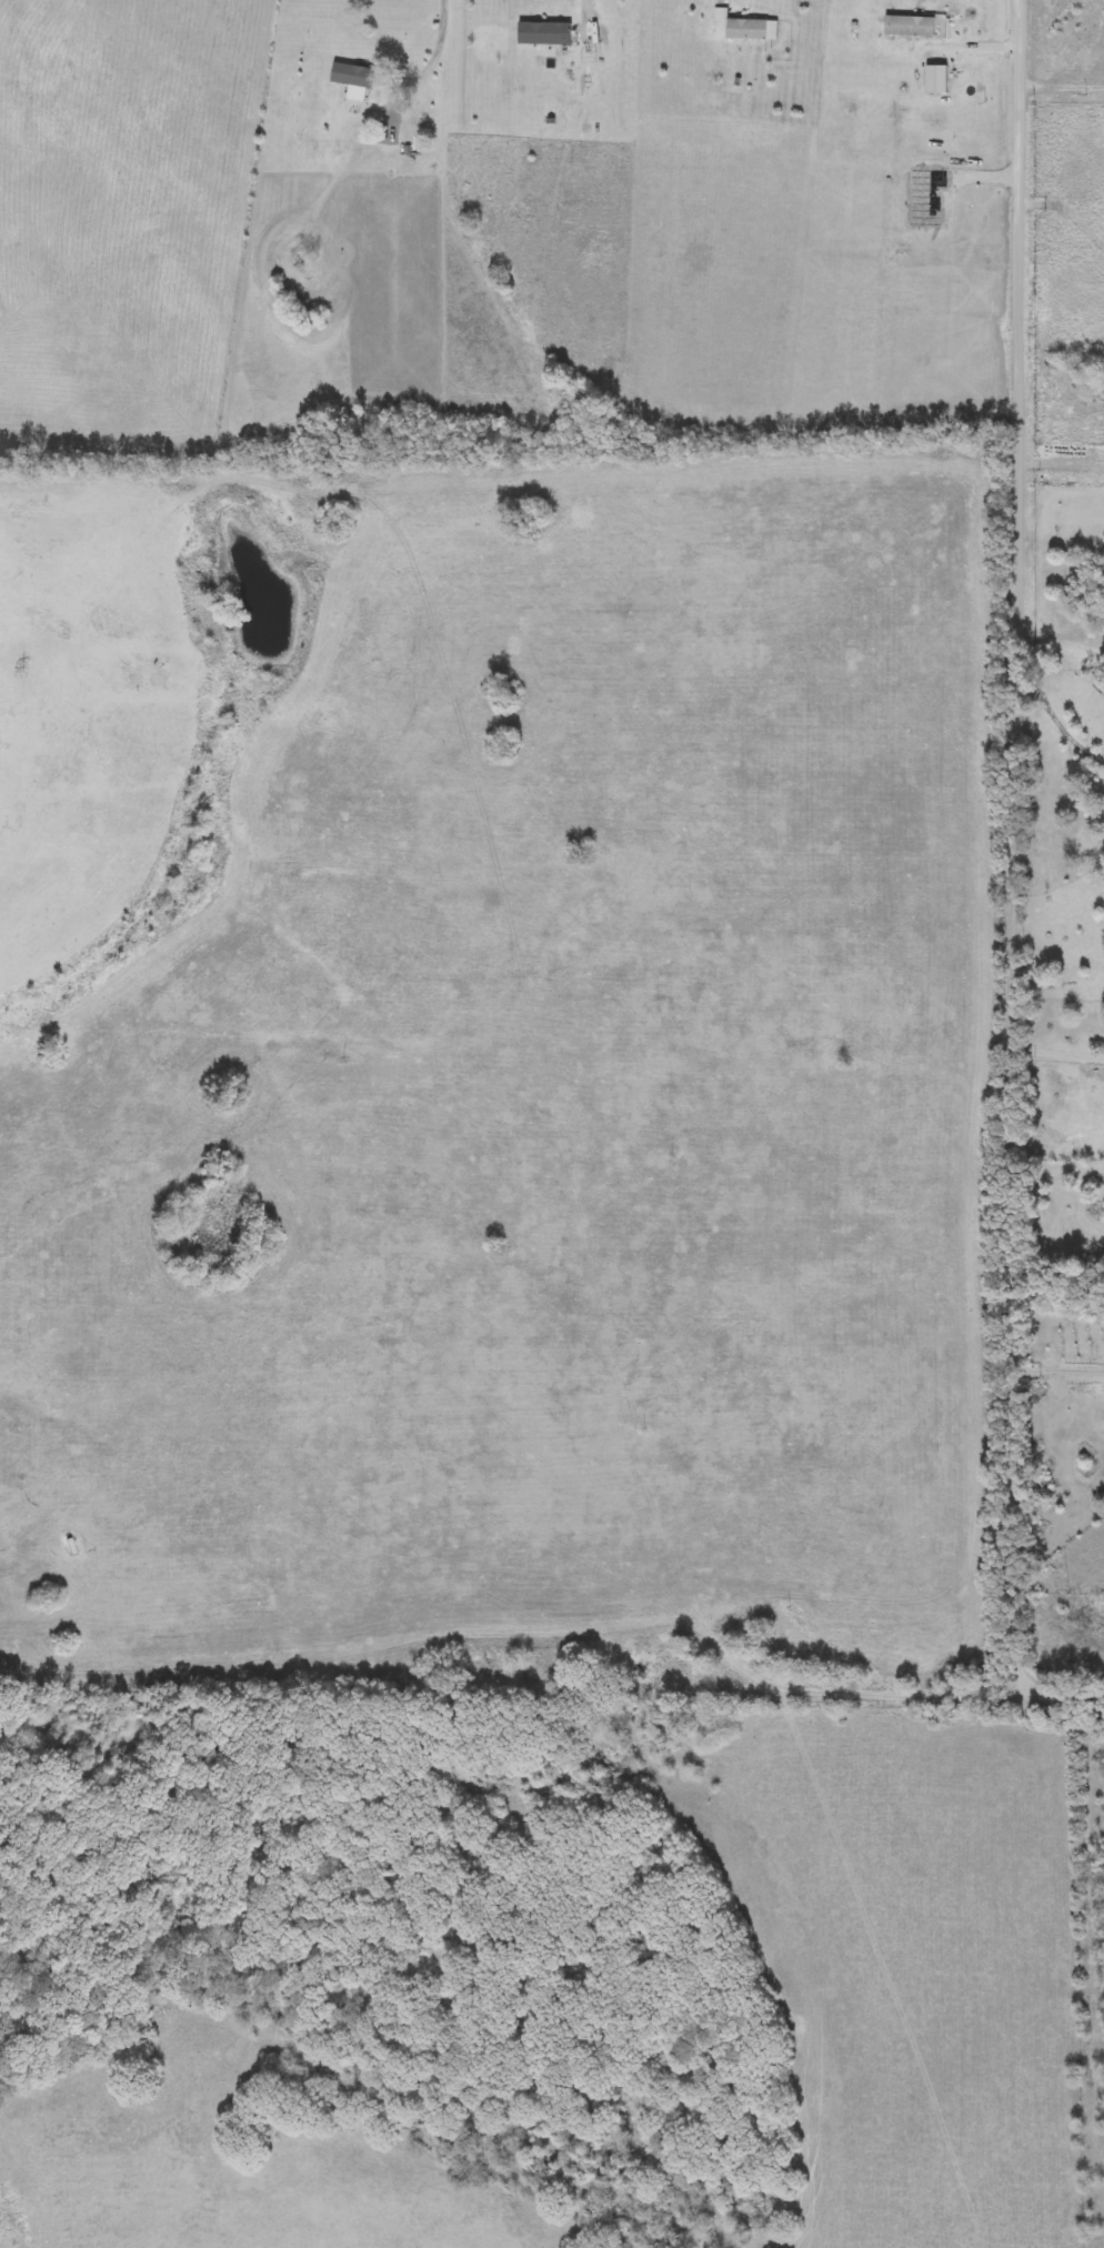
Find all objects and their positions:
road: (589, 12)
building: (913, 26)
building: (755, 29)
building: (548, 33)
road: (441, 59)
building: (355, 74)
road: (1062, 456)
road: (1061, 636)
road: (1056, 723)
road: (997, 782)
road: (1052, 1051)
road: (1087, 1168)
road: (1052, 1371)
road: (1010, 1676)

